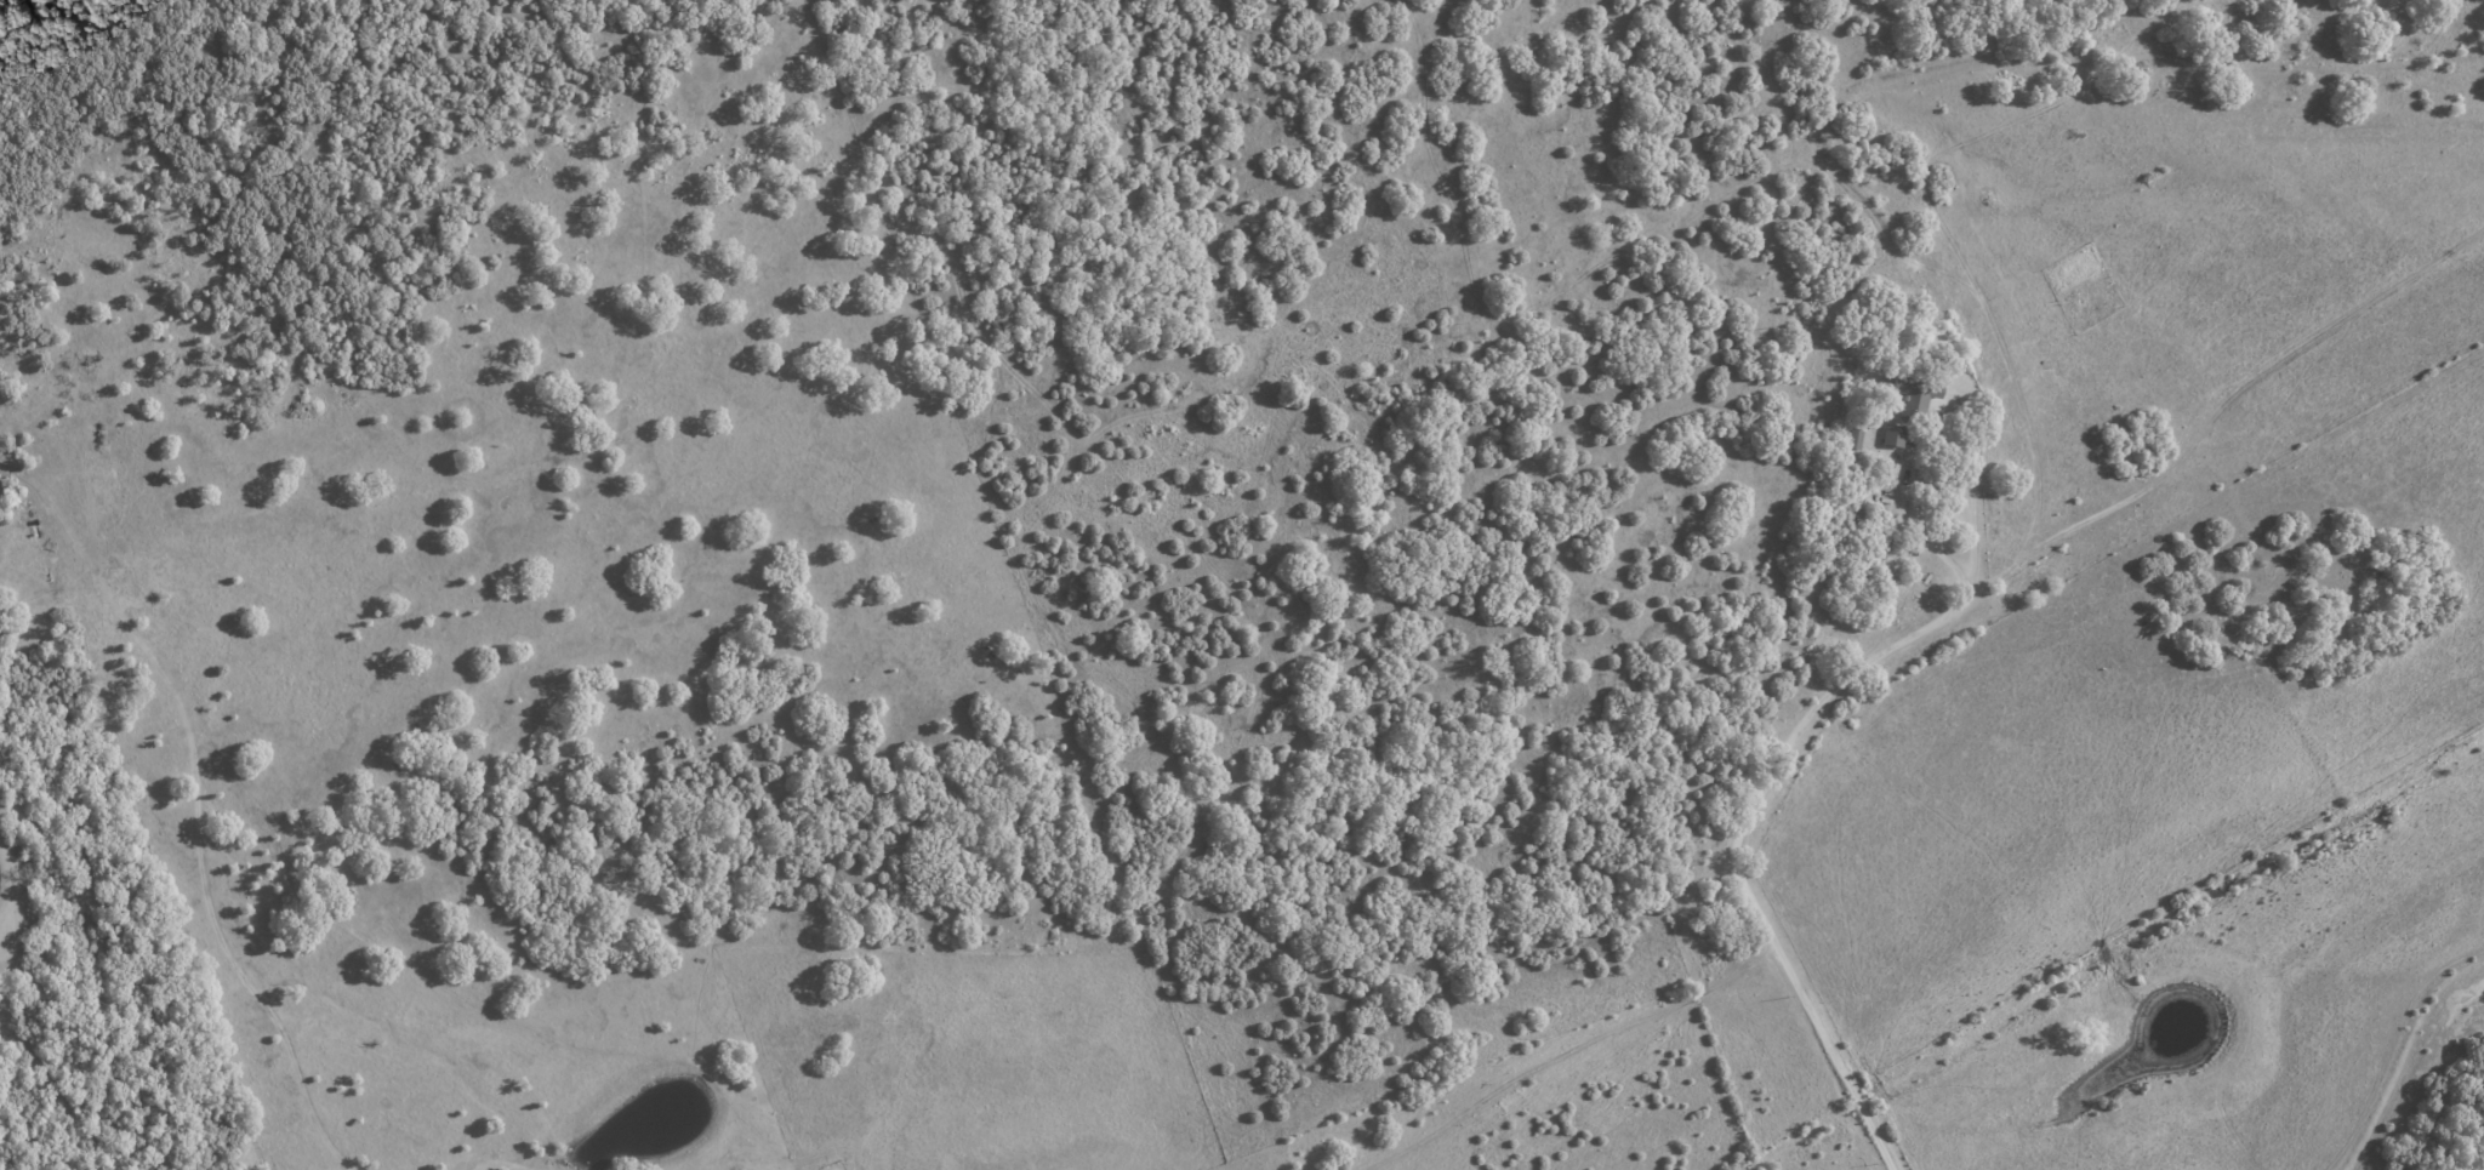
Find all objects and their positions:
building: (1908, 388)
building: (1892, 434)
building: (1852, 439)
road: (1773, 767)

